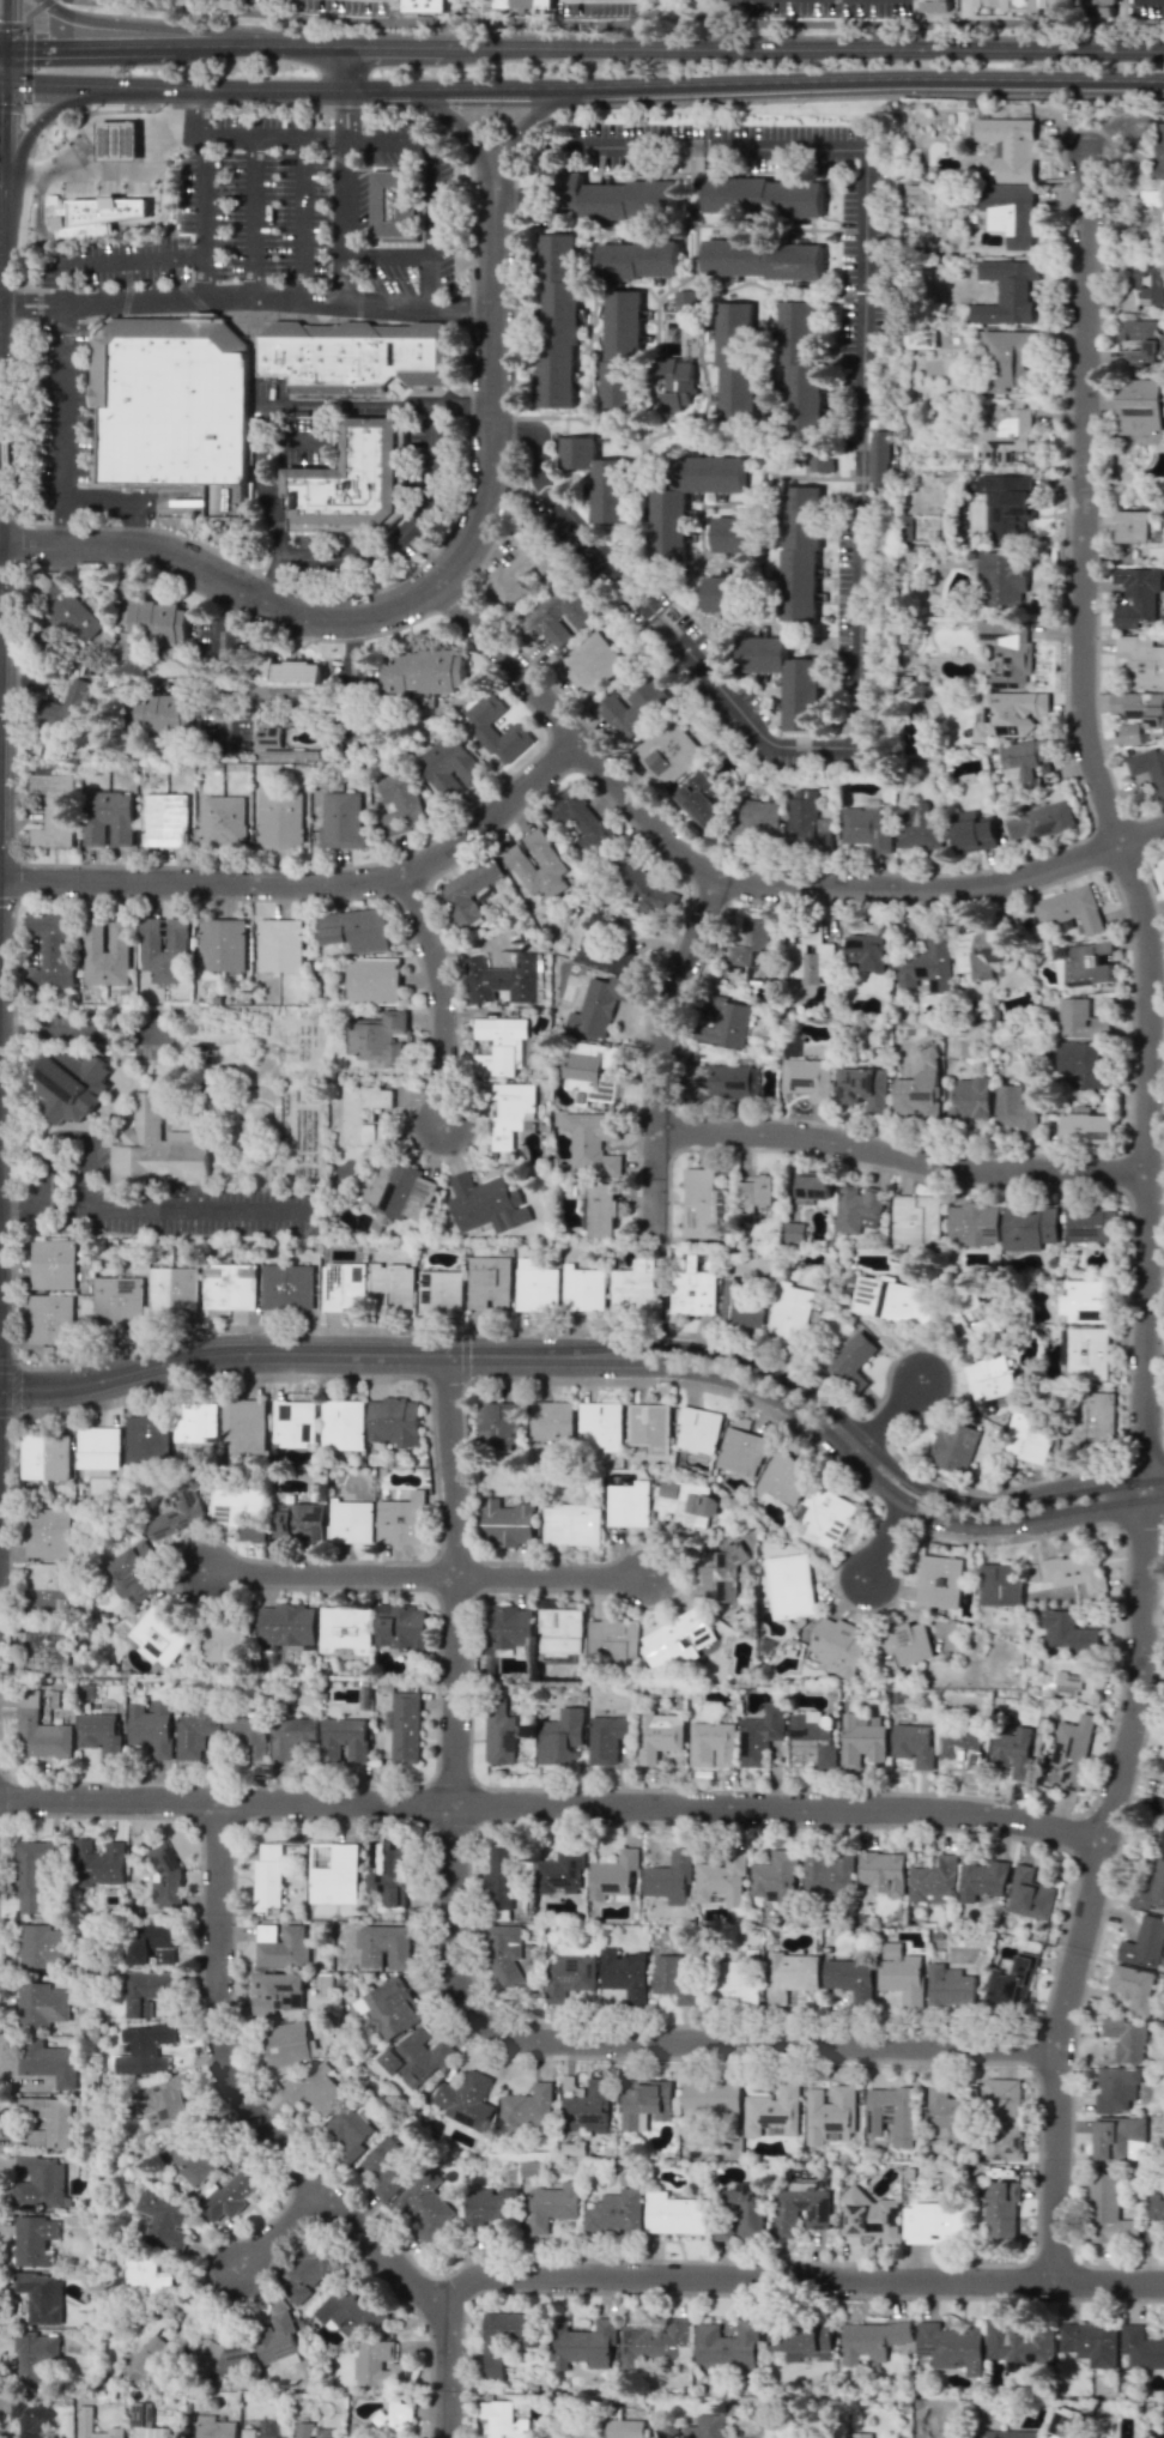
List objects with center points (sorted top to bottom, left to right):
building: (425, 2)
building: (1099, 2)
building: (523, 4)
building: (936, 4)
building: (1023, 5)
road: (671, 6)
road: (5, 23)
road: (618, 23)
road: (13, 25)
road: (164, 26)
road: (277, 44)
road: (411, 46)
road: (87, 47)
road: (2, 48)
traffic signals: (5, 48)
road: (801, 48)
road: (2, 53)
road: (28, 65)
road: (776, 81)
road: (194, 87)
road: (346, 87)
street lamp: (1042, 99)
road: (12, 107)
road: (200, 111)
road: (445, 113)
road: (536, 113)
road: (40, 120)
building: (116, 139)
gas station: (116, 139)
road: (393, 143)
building: (1010, 146)
building: (1158, 151)
road: (119, 171)
street lamp: (1066, 181)
building: (763, 194)
building: (618, 196)
building: (394, 201)
building: (105, 207)
building: (1008, 212)
building: (1151, 212)
road: (201, 216)
road: (251, 217)
road: (299, 218)
road: (342, 222)
road: (763, 226)
parking lot: (245, 243)
building: (647, 252)
building: (763, 255)
road: (386, 256)
road: (114, 261)
building: (1141, 282)
building: (1005, 291)
road: (19, 297)
road: (247, 297)
road: (473, 304)
road: (31, 313)
road: (489, 316)
building: (558, 323)
building: (624, 338)
building: (920, 338)
building: (1139, 339)
building: (735, 349)
building: (357, 355)
building: (799, 358)
building: (1006, 358)
building: (677, 382)
road: (63, 403)
building: (174, 404)
road: (273, 404)
building: (1139, 406)
road: (436, 413)
building: (1005, 437)
building: (575, 444)
building: (879, 459)
building: (822, 461)
building: (350, 482)
building: (717, 482)
building: (612, 485)
parking lot: (428, 497)
road: (1084, 502)
road: (122, 503)
building: (1007, 507)
road: (860, 522)
building: (668, 525)
building: (1132, 526)
road: (472, 527)
road: (407, 531)
building: (750, 538)
street lamp: (1062, 545)
building: (802, 548)
road: (290, 552)
building: (519, 567)
building: (1002, 579)
road: (228, 583)
road: (453, 588)
building: (716, 588)
building: (1135, 595)
building: (71, 616)
building: (557, 616)
building: (169, 622)
building: (1008, 653)
building: (1141, 660)
building: (424, 661)
building: (592, 661)
road: (230, 663)
building: (290, 674)
building: (786, 677)
road: (352, 679)
building: (65, 707)
building: (633, 709)
building: (165, 713)
building: (1007, 714)
building: (484, 728)
building: (1129, 733)
building: (268, 737)
street lamp: (1104, 750)
building: (667, 752)
building: (1023, 758)
building: (448, 766)
building: (1148, 767)
building: (697, 799)
building: (399, 803)
building: (53, 809)
building: (107, 818)
building: (164, 819)
building: (280, 819)
building: (578, 819)
building: (223, 821)
building: (341, 821)
building: (757, 821)
building: (805, 821)
building: (1041, 821)
building: (866, 827)
building: (917, 828)
building: (972, 831)
road: (1140, 834)
building: (547, 859)
road: (729, 879)
road: (309, 884)
building: (469, 890)
building: (645, 890)
street lamp: (377, 895)
building: (1069, 908)
building: (356, 928)
building: (151, 934)
building: (222, 944)
building: (281, 944)
building: (750, 946)
building: (605, 948)
building: (50, 949)
building: (981, 950)
building: (105, 951)
building: (867, 951)
building: (808, 956)
building: (926, 962)
building: (1087, 963)
building: (372, 968)
building: (502, 979)
street lamp: (1128, 992)
road: (438, 997)
building: (601, 1004)
building: (1080, 1020)
building: (723, 1022)
road: (14, 1023)
road: (96, 1027)
road: (660, 1034)
building: (376, 1036)
building: (499, 1045)
building: (1081, 1064)
building: (588, 1069)
building: (808, 1077)
building: (719, 1082)
building: (69, 1085)
building: (862, 1088)
building: (919, 1089)
building: (970, 1097)
building: (1013, 1111)
building: (509, 1112)
building: (351, 1115)
building: (371, 1123)
building: (1086, 1129)
road: (69, 1139)
building: (592, 1142)
building: (154, 1151)
road: (898, 1154)
street lamp: (1163, 1169)
road: (47, 1176)
road: (86, 1180)
building: (813, 1186)
building: (398, 1188)
building: (757, 1191)
building: (701, 1204)
road: (7, 1208)
road: (164, 1208)
building: (857, 1208)
building: (602, 1209)
building: (915, 1218)
building: (972, 1223)
building: (1090, 1223)
building: (1027, 1227)
building: (793, 1232)
building: (53, 1264)
road: (663, 1270)
building: (489, 1282)
building: (392, 1284)
park: (662, 1284)
building: (229, 1285)
building: (286, 1287)
building: (342, 1287)
building: (633, 1287)
building: (584, 1288)
building: (536, 1289)
building: (172, 1290)
building: (439, 1290)
building: (693, 1291)
building: (117, 1299)
building: (891, 1300)
building: (1084, 1301)
building: (742, 1306)
building: (789, 1313)
building: (50, 1318)
building: (968, 1321)
road: (271, 1353)
road: (714, 1353)
building: (1086, 1353)
building: (851, 1361)
road: (707, 1371)
building: (989, 1381)
road: (884, 1416)
building: (1097, 1418)
building: (395, 1420)
building: (551, 1420)
building: (195, 1423)
building: (244, 1423)
building: (293, 1423)
building: (342, 1423)
building: (496, 1426)
building: (600, 1426)
building: (650, 1427)
building: (699, 1428)
building: (1027, 1438)
building: (146, 1439)
building: (953, 1446)
road: (869, 1450)
building: (98, 1451)
building: (741, 1451)
building: (44, 1456)
building: (783, 1477)
road: (1017, 1499)
building: (630, 1504)
building: (685, 1504)
building: (240, 1507)
building: (178, 1511)
building: (826, 1514)
building: (402, 1519)
building: (350, 1522)
building: (299, 1523)
building: (507, 1523)
building: (572, 1524)
road: (993, 1525)
building: (48, 1532)
road: (883, 1538)
road: (1139, 1565)
building: (719, 1572)
building: (1073, 1572)
building: (133, 1573)
road: (425, 1573)
building: (939, 1581)
building: (999, 1584)
building: (46, 1585)
building: (792, 1585)
building: (286, 1623)
building: (400, 1627)
building: (508, 1627)
building: (345, 1631)
building: (1067, 1632)
building: (559, 1634)
building: (158, 1635)
building: (611, 1639)
building: (675, 1640)
building: (223, 1641)
building: (904, 1645)
building: (43, 1646)
building: (838, 1646)
building: (1073, 1677)
building: (151, 1726)
building: (405, 1728)
building: (40, 1730)
building: (195, 1732)
building: (498, 1732)
building: (99, 1734)
building: (760, 1734)
building: (291, 1735)
building: (659, 1735)
building: (248, 1736)
building: (608, 1736)
building: (814, 1736)
building: (560, 1737)
building: (342, 1738)
building: (860, 1743)
building: (962, 1743)
building: (711, 1744)
building: (914, 1744)
building: (1072, 1750)
building: (1012, 1752)
building: (1163, 1768)
building: (1163, 1785)
road: (0, 1799)
road: (550, 1805)
street lamp: (642, 1826)
street lamp: (426, 1829)
building: (1162, 1834)
street lamp: (1120, 1845)
building: (99, 1863)
building: (559, 1871)
building: (881, 1871)
building: (31, 1873)
building: (333, 1873)
building: (827, 1873)
building: (613, 1874)
building: (268, 1875)
building: (390, 1875)
building: (165, 1877)
building: (498, 1877)
building: (774, 1877)
building: (669, 1879)
building: (721, 1879)
building: (982, 1880)
building: (933, 1881)
building: (1151, 1889)
building: (1029, 1894)
building: (146, 1940)
building: (1145, 1942)
building: (43, 1947)
building: (383, 1947)
building: (284, 1948)
building: (503, 1955)
building: (624, 1973)
building: (901, 1973)
building: (789, 1974)
building: (568, 1976)
road: (456, 1978)
building: (849, 1978)
building: (674, 1979)
building: (736, 1982)
building: (1012, 1982)
building: (1133, 1986)
building: (950, 1988)
building: (144, 1991)
building: (278, 1992)
building: (41, 2004)
building: (390, 2008)
building: (1127, 2038)
building: (287, 2046)
building: (145, 2049)
building: (414, 2057)
building: (48, 2062)
street lamp: (681, 2062)
street lamp: (865, 2064)
building: (316, 2088)
building: (1116, 2088)
building: (711, 2097)
building: (466, 2100)
building: (160, 2101)
building: (587, 2104)
building: (644, 2105)
building: (527, 2107)
building: (771, 2111)
building: (892, 2112)
building: (947, 2113)
building: (830, 2115)
building: (1004, 2116)
building: (47, 2121)
building: (347, 2133)
building: (1120, 2138)
road: (277, 2142)
building: (190, 2158)
building: (386, 2168)
building: (38, 2182)
building: (231, 2194)
building: (424, 2207)
building: (552, 2207)
building: (801, 2208)
building: (489, 2209)
building: (742, 2209)
building: (1001, 2210)
building: (1109, 2212)
building: (614, 2213)
building: (674, 2213)
building: (869, 2215)
building: (1154, 2216)
building: (163, 2219)
building: (933, 2224)
road: (274, 2233)
building: (34, 2239)
building: (308, 2270)
building: (144, 2275)
road: (794, 2277)
building: (40, 2295)
street lamp: (1057, 2299)
building: (350, 2313)
building: (507, 2337)
building: (799, 2337)
building: (277, 2340)
building: (651, 2341)
building: (871, 2341)
building: (1091, 2342)
building: (581, 2343)
building: (726, 2345)
building: (951, 2346)
building: (1020, 2346)
building: (1142, 2347)
building: (151, 2353)
building: (35, 2354)
building: (207, 2354)
building: (377, 2365)
building: (30, 2415)
building: (84, 2415)
building: (502, 2420)
building: (395, 2421)
building: (1063, 2421)
building: (145, 2422)
building: (707, 2426)
building: (213, 2427)
building: (626, 2428)
building: (248, 2432)
building: (1008, 2433)
building: (861, 2434)

